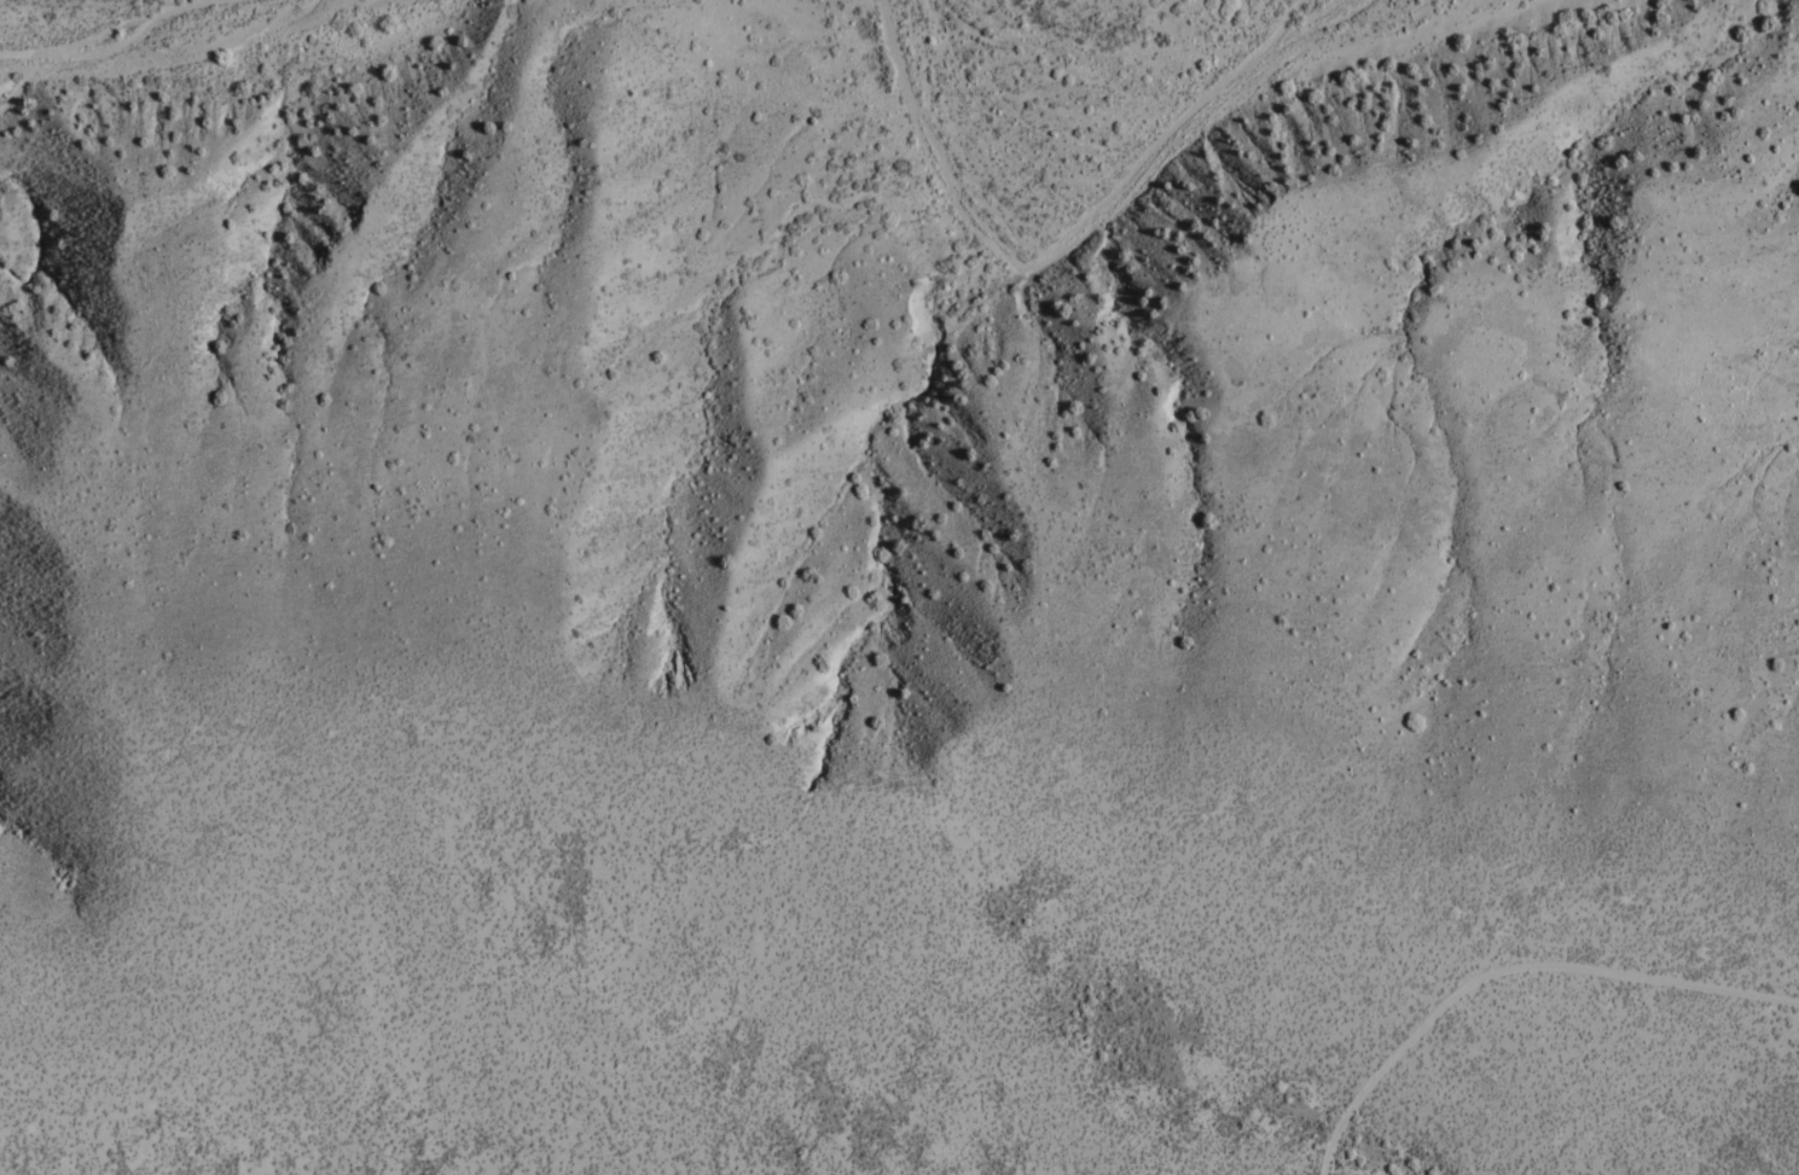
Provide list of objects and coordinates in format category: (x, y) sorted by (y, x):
road: (1507, 965)

